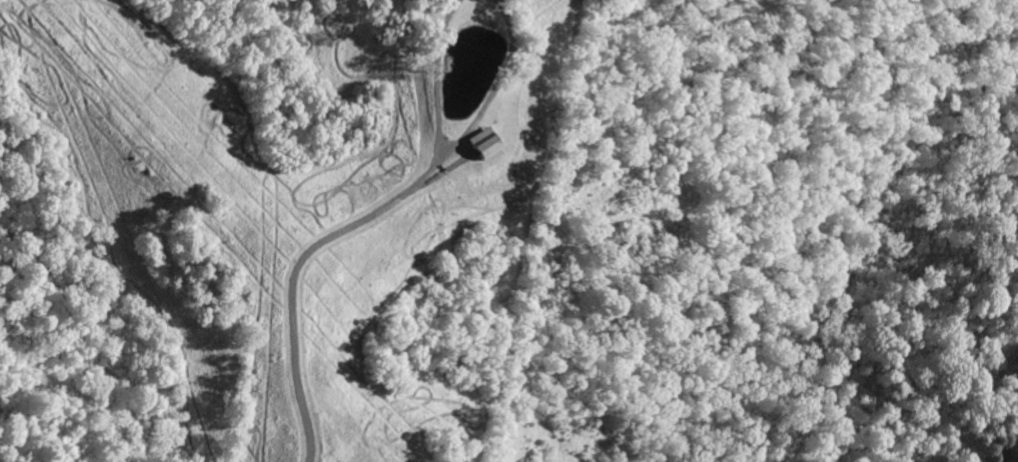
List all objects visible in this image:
building: (479, 142)

